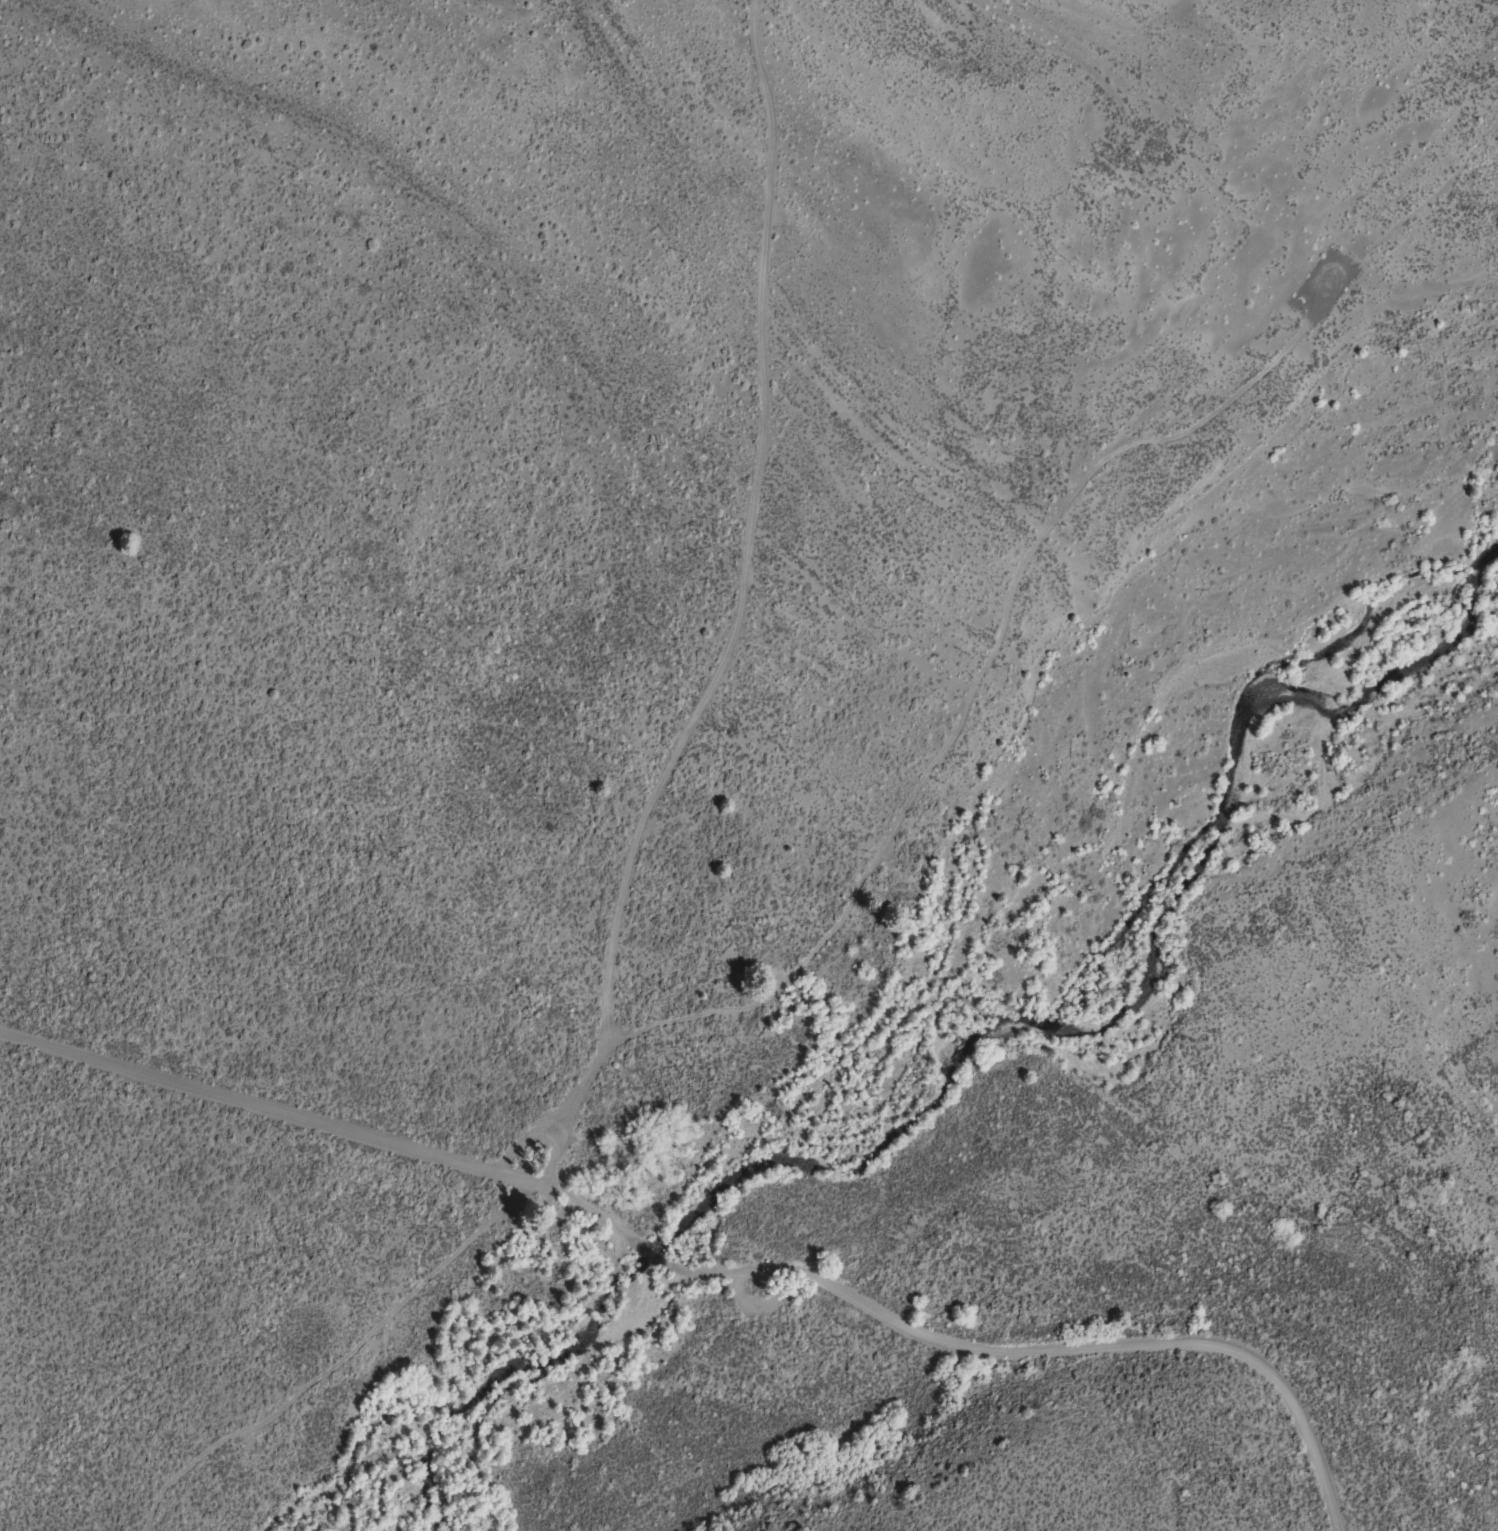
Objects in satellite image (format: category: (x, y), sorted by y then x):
road: (770, 111)
road: (1416, 205)
road: (976, 683)
road: (693, 718)
road: (524, 1147)
road: (712, 1269)
road: (740, 1297)
road: (337, 1361)

